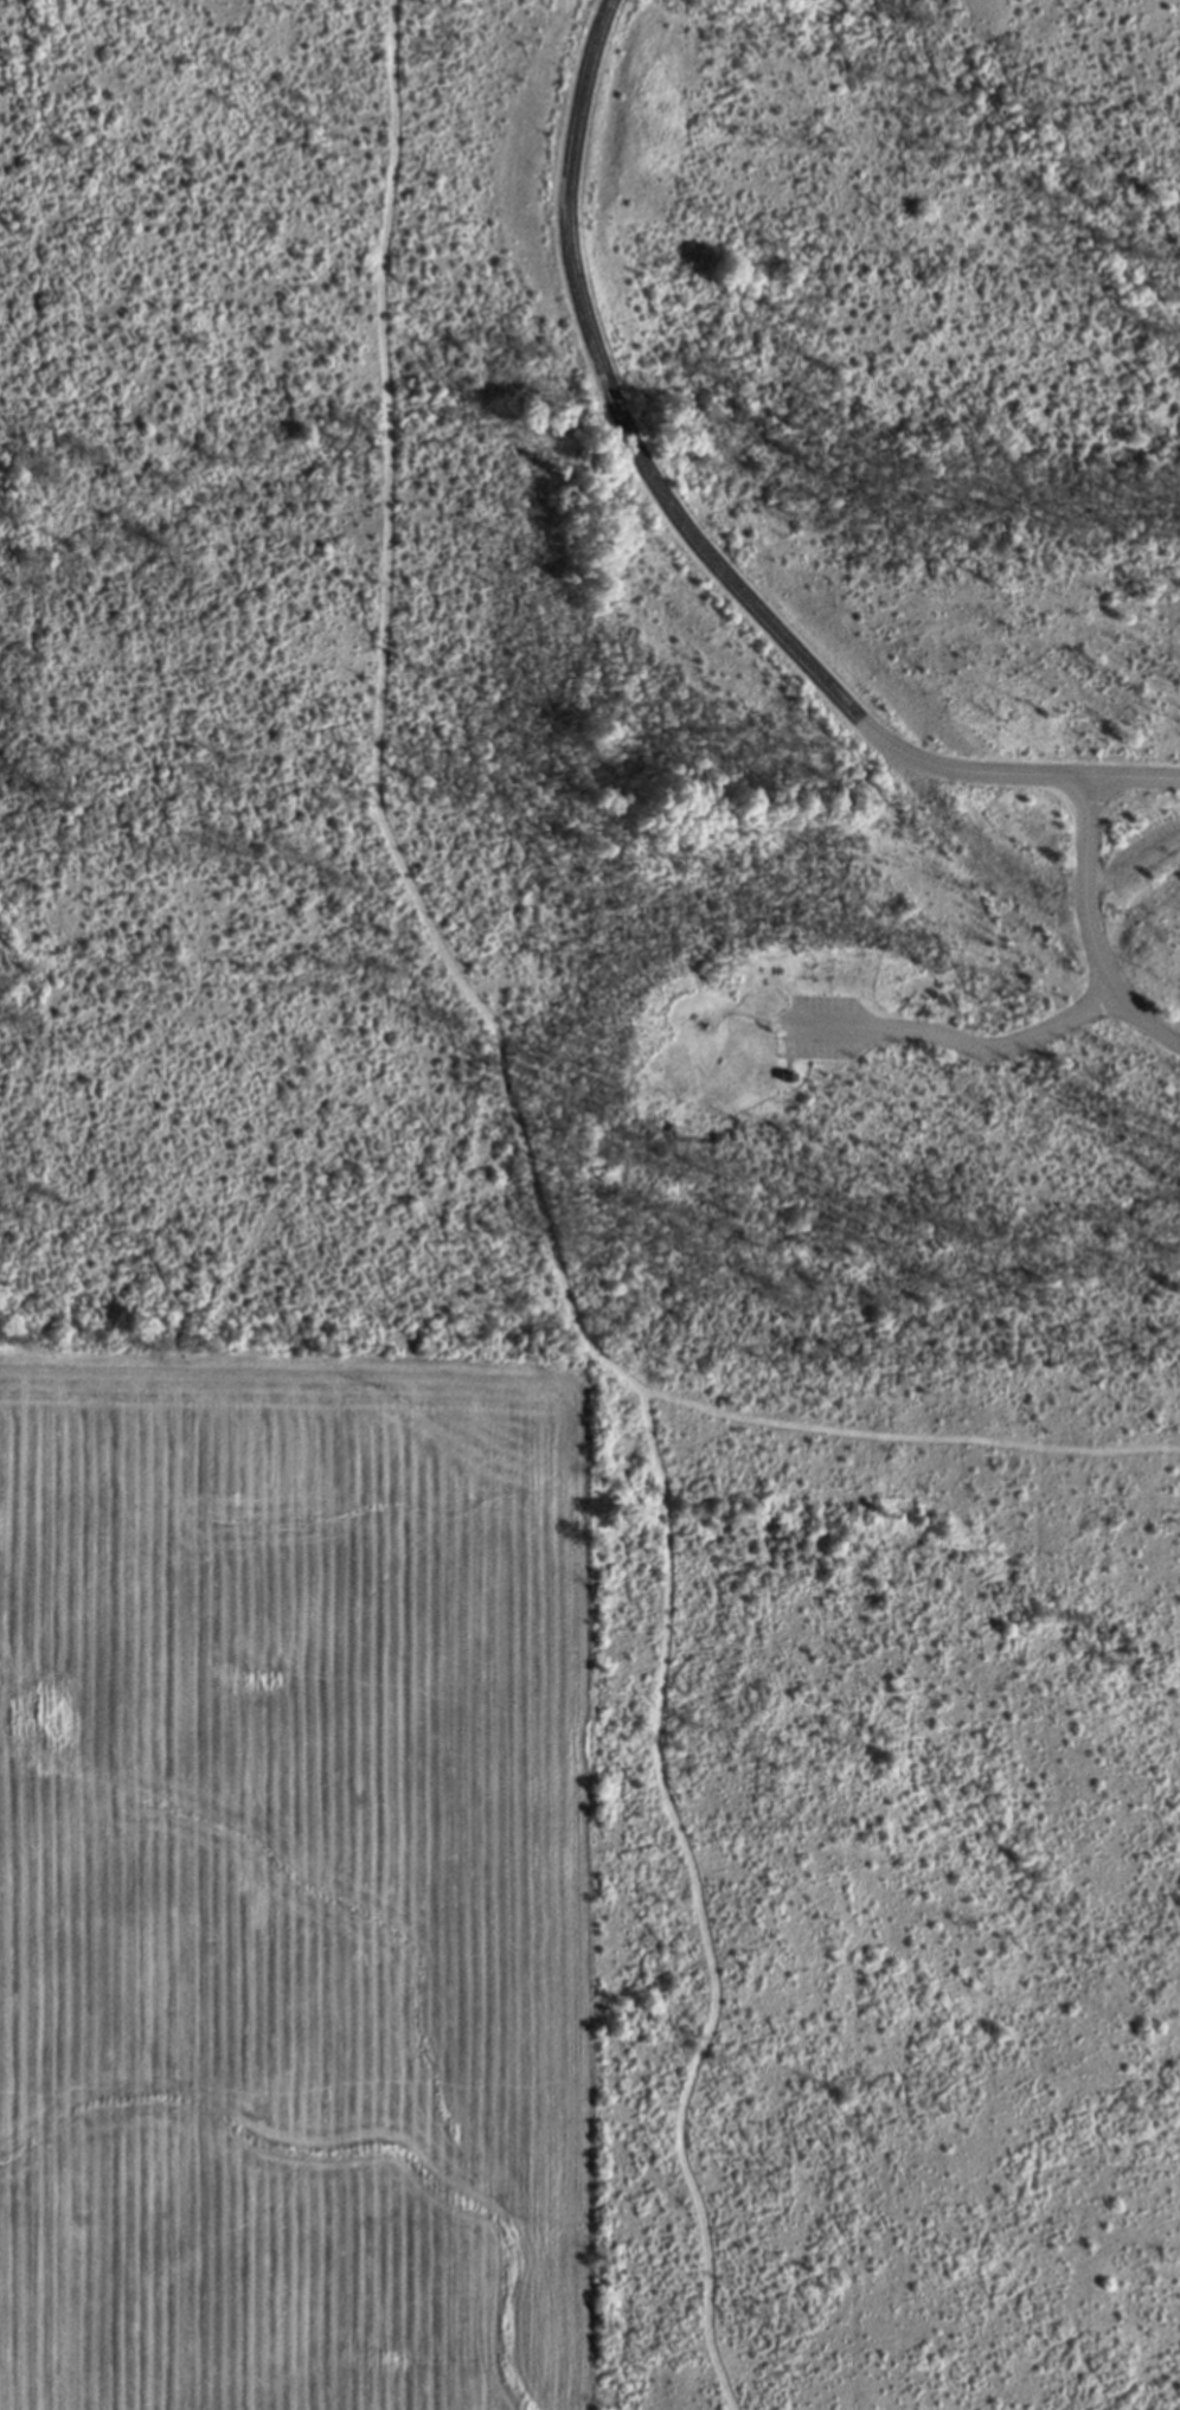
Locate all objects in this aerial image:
road: (690, 541)
road: (1090, 929)
parking lot: (823, 1026)
road: (829, 1027)
road: (994, 1047)
road: (904, 1438)

